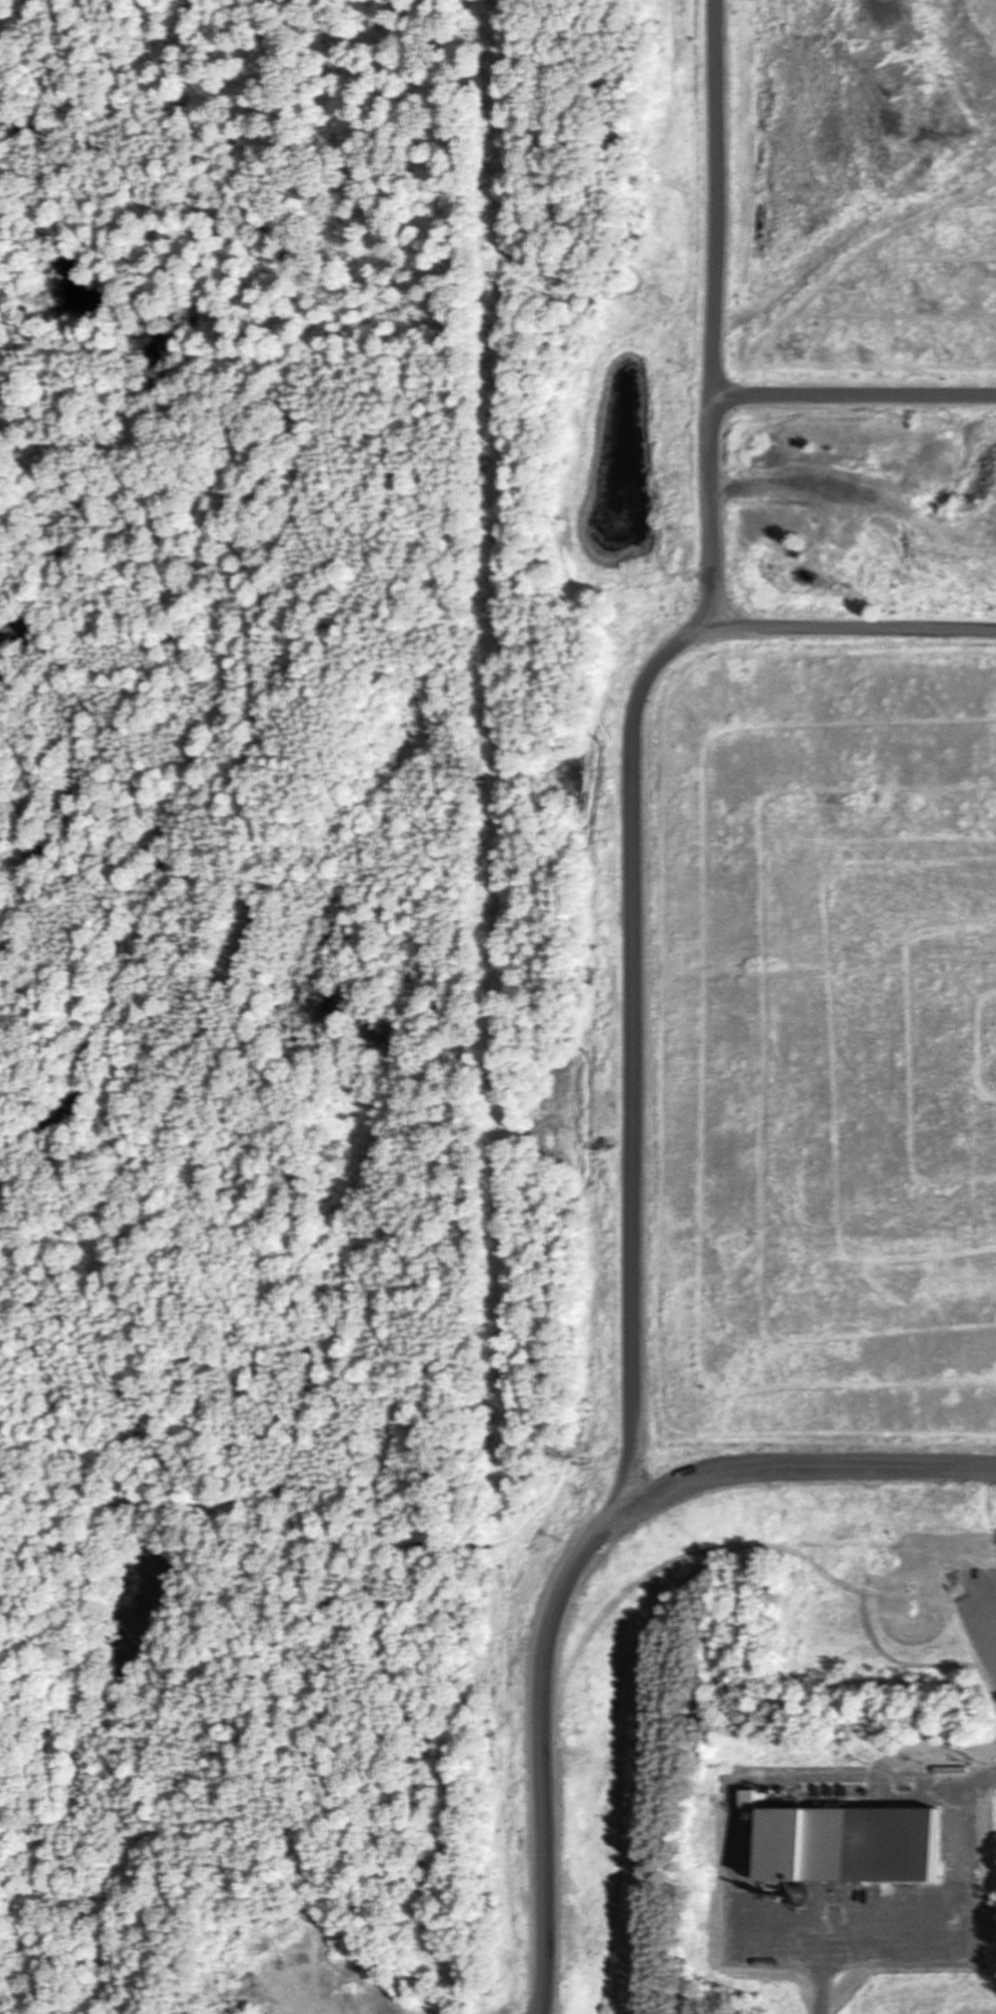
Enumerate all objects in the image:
road: (857, 396)
road: (843, 629)
road: (637, 1002)
landfill: (758, 1110)
road: (495, 1154)
road: (803, 1469)
building: (858, 1845)
road: (820, 1987)

